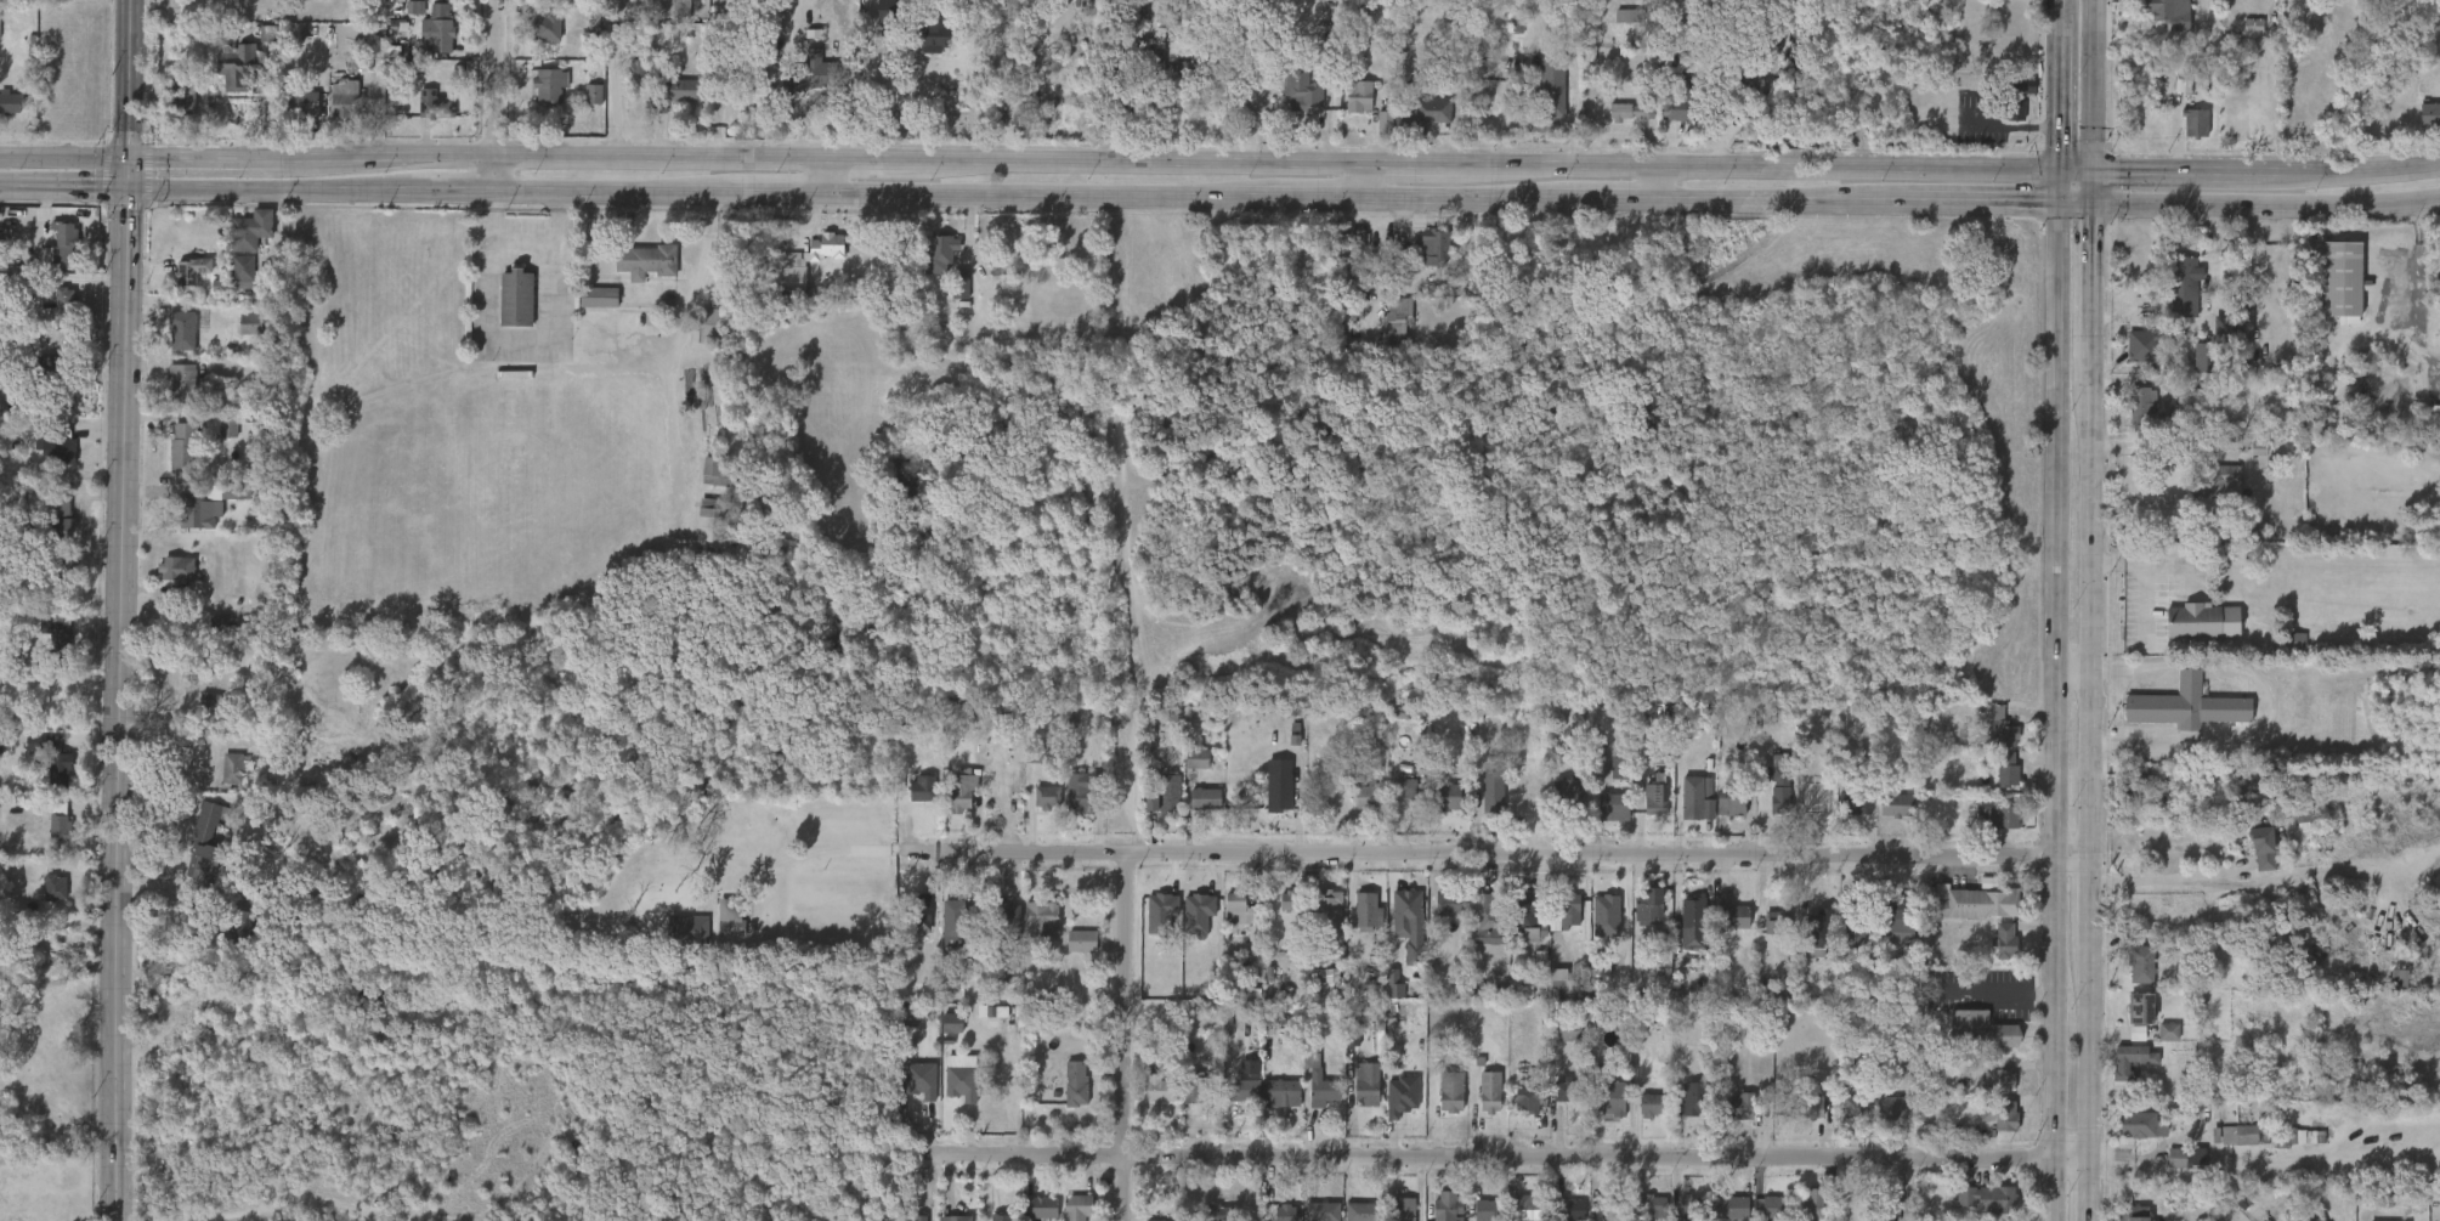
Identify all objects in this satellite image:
building: (534, 0)
building: (670, 1)
building: (428, 4)
building: (239, 5)
road: (2060, 7)
building: (2168, 12)
building: (402, 23)
building: (919, 23)
building: (874, 24)
building: (436, 26)
building: (2155, 26)
building: (547, 27)
building: (1612, 32)
building: (2238, 43)
building: (533, 44)
building: (425, 45)
building: (922, 52)
building: (1155, 60)
building: (1138, 62)
building: (236, 67)
building: (821, 72)
building: (1194, 72)
building: (1742, 74)
building: (341, 77)
road: (125, 79)
building: (548, 84)
building: (1168, 84)
road: (2100, 86)
building: (806, 90)
building: (674, 91)
road: (2062, 94)
building: (181, 96)
road: (493, 96)
building: (1355, 97)
building: (1549, 98)
building: (2015, 98)
building: (1306, 100)
building: (324, 101)
building: (537, 101)
building: (11, 104)
building: (1678, 104)
building: (434, 106)
building: (579, 109)
building: (1630, 111)
building: (1291, 112)
building: (1346, 112)
building: (170, 113)
building: (1420, 118)
building: (2428, 118)
building: (4, 119)
building: (290, 119)
building: (423, 120)
building: (2193, 123)
building: (1665, 124)
building: (2000, 125)
building: (1618, 128)
building: (2419, 131)
building: (1370, 137)
building: (2181, 139)
road: (62, 157)
traffic signals: (124, 158)
road: (202, 158)
road: (550, 158)
road: (862, 160)
road: (1133, 160)
road: (1405, 164)
road: (1756, 168)
traffic signals: (2065, 174)
road: (2082, 174)
traffic signals: (2100, 174)
road: (2186, 175)
road: (124, 176)
road: (2356, 177)
road: (822, 183)
road: (1363, 187)
road: (1654, 190)
road: (62, 193)
road: (270, 193)
road: (453, 193)
traffic signals: (124, 194)
road: (2063, 194)
road: (2100, 194)
road: (601, 197)
road: (768, 204)
road: (1038, 208)
road: (1308, 210)
road: (1454, 211)
road: (1600, 213)
road: (1750, 213)
road: (1955, 215)
traffic signals: (2063, 216)
road: (2082, 216)
traffic signals: (2100, 216)
road: (2270, 216)
building: (253, 228)
building: (62, 234)
road: (521, 242)
building: (238, 245)
building: (826, 245)
building: (1428, 247)
building: (939, 250)
building: (50, 259)
building: (650, 260)
building: (1417, 264)
building: (928, 267)
building: (2438, 268)
building: (192, 270)
building: (244, 271)
building: (633, 277)
building: (2344, 279)
building: (791, 283)
building: (179, 286)
building: (2180, 286)
building: (231, 288)
road: (2099, 288)
building: (2328, 296)
building: (514, 298)
building: (62, 300)
building: (947, 300)
building: (585, 312)
building: (503, 313)
building: (1402, 316)
building: (51, 317)
building: (253, 323)
building: (930, 324)
building: (186, 328)
building: (1385, 333)
building: (238, 339)
road: (521, 339)
building: (702, 339)
building: (171, 345)
building: (2141, 345)
building: (2203, 357)
building: (2128, 361)
building: (2363, 362)
road: (673, 366)
building: (50, 369)
building: (2351, 377)
building: (183, 381)
building: (169, 394)
building: (2136, 398)
building: (2435, 413)
building: (2128, 418)
building: (222, 428)
building: (2428, 428)
building: (215, 443)
building: (56, 445)
building: (185, 447)
building: (170, 462)
building: (45, 467)
building: (712, 470)
building: (2214, 481)
building: (702, 486)
building: (227, 491)
building: (2202, 498)
building: (222, 508)
building: (198, 513)
building: (57, 520)
building: (193, 528)
building: (712, 528)
building: (49, 535)
building: (63, 565)
building: (179, 567)
building: (164, 584)
road: (2094, 612)
building: (2191, 621)
building: (61, 633)
building: (49, 644)
building: (2282, 655)
road: (2073, 671)
building: (61, 697)
road: (117, 707)
building: (2184, 707)
building: (213, 716)
road: (2051, 718)
building: (2172, 723)
building: (1997, 728)
building: (194, 730)
building: (1986, 744)
building: (22, 758)
building: (234, 768)
building: (2008, 768)
building: (60, 770)
building: (1183, 774)
building: (2138, 781)
building: (46, 784)
building: (220, 784)
building: (1993, 785)
building: (963, 787)
building: (921, 788)
building: (1080, 790)
building: (1493, 791)
building: (1170, 792)
building: (1281, 792)
building: (1403, 793)
building: (1365, 795)
building: (1567, 795)
building: (1445, 796)
building: (1698, 796)
building: (1047, 797)
building: (1779, 797)
building: (1204, 798)
building: (1655, 798)
building: (907, 801)
building: (950, 803)
building: (1731, 803)
building: (1852, 803)
building: (1613, 805)
building: (1766, 805)
building: (1896, 805)
building: (1478, 807)
building: (1553, 807)
building: (1068, 808)
building: (1266, 808)
building: (1393, 809)
building: (1681, 810)
building: (1351, 812)
building: (1437, 812)
building: (1034, 813)
building: (1642, 813)
building: (1191, 814)
building: (1840, 818)
building: (1991, 818)
building: (1717, 819)
building: (1883, 820)
building: (61, 823)
building: (1600, 823)
building: (1986, 832)
building: (2289, 835)
building: (47, 837)
building: (203, 846)
building: (2265, 847)
road: (1449, 855)
building: (2248, 864)
road: (2193, 881)
building: (55, 888)
building: (41, 903)
building: (1449, 903)
building: (1647, 903)
building: (1974, 903)
building: (1406, 904)
building: (1325, 909)
building: (1567, 909)
building: (1244, 910)
building: (1366, 911)
building: (1855, 911)
building: (916, 912)
building: (1693, 912)
road: (2090, 912)
building: (1002, 914)
building: (1729, 914)
building: (1897, 914)
building: (1275, 915)
building: (1489, 915)
building: (730, 916)
building: (1528, 916)
building: (1963, 916)
building: (1041, 920)
building: (958, 921)
building: (1634, 921)
building: (1440, 922)
building: (1776, 922)
building: (1315, 925)
building: (1392, 926)
building: (1556, 926)
building: (1354, 927)
building: (1228, 928)
building: (910, 929)
building: (995, 929)
building: (1717, 929)
building: (686, 931)
building: (1592, 931)
building: (717, 932)
building: (1512, 932)
building: (1027, 933)
building: (1817, 933)
building: (1884, 934)
building: (944, 935)
building: (1473, 938)
building: (1680, 938)
building: (1764, 938)
building: (2004, 939)
building: (1080, 940)
building: (675, 944)
building: (1805, 949)
building: (1840, 950)
building: (1068, 956)
building: (1991, 956)
building: (2141, 962)
building: (1157, 966)
building: (2127, 979)
building: (2384, 993)
building: (1549, 997)
building: (1380, 999)
building: (2142, 1007)
building: (2125, 1023)
building: (1976, 1030)
building: (939, 1038)
road: (1125, 1038)
building: (1965, 1044)
building: (2153, 1046)
building: (1556, 1047)
road: (2089, 1059)
building: (2133, 1061)
building: (2117, 1075)
building: (1998, 1079)
building: (919, 1080)
building: (962, 1081)
building: (1076, 1082)
building: (1370, 1084)
building: (1196, 1086)
building: (1159, 1090)
building: (1567, 1090)
building: (1242, 1091)
building: (1324, 1091)
building: (947, 1092)
building: (1283, 1092)
building: (1447, 1092)
building: (1487, 1092)
building: (1985, 1093)
building: (908, 1095)
building: (1398, 1097)
building: (1063, 1098)
building: (1528, 1098)
building: (1603, 1102)
building: (1183, 1103)
building: (1551, 1103)
building: (1147, 1104)
building: (1353, 1104)
building: (1688, 1104)
building: (1235, 1106)
building: (1476, 1106)
building: (1648, 1106)
building: (1733, 1107)
building: (1266, 1108)
building: (1310, 1108)
building: (1437, 1108)
building: (1855, 1108)
building: (1890, 1108)
building: (1388, 1110)
building: (1511, 1110)
building: (2000, 1115)
building: (1638, 1120)
building: (1727, 1120)
building: (1800, 1121)
building: (1844, 1123)
building: (1878, 1123)
building: (2141, 1125)
building: (1991, 1131)
building: (2243, 1135)
road: (2187, 1136)
building: (2128, 1141)
building: (2230, 1149)
building: (2185, 1158)
road: (1512, 1159)
building: (2172, 1174)
road: (2185, 1175)
road: (2088, 1188)
building: (2191, 1194)
building: (1987, 1198)
building: (1445, 1205)
building: (1038, 1206)
building: (1076, 1206)
building: (1771, 1206)
building: (1525, 1208)
building: (1568, 1208)
building: (1648, 1208)
building: (1732, 1208)
building: (1403, 1209)
building: (1609, 1209)
building: (1688, 1209)
building: (1806, 1209)
building: (1484, 1210)
building: (1321, 1211)
building: (1363, 1211)
building: (1972, 1211)
building: (1218, 1212)
building: (2134, 1212)
building: (1433, 1214)
building: (1875, 1214)
building: (1027, 1216)
building: (1391, 1216)
building: (1719, 1216)
building: (1760, 1216)
building: (913, 1217)
building: (1001, 1217)
building: (961, 1219)
building: (1153, 1220)
building: (1272, 1220)
building: (2203, 1220)

